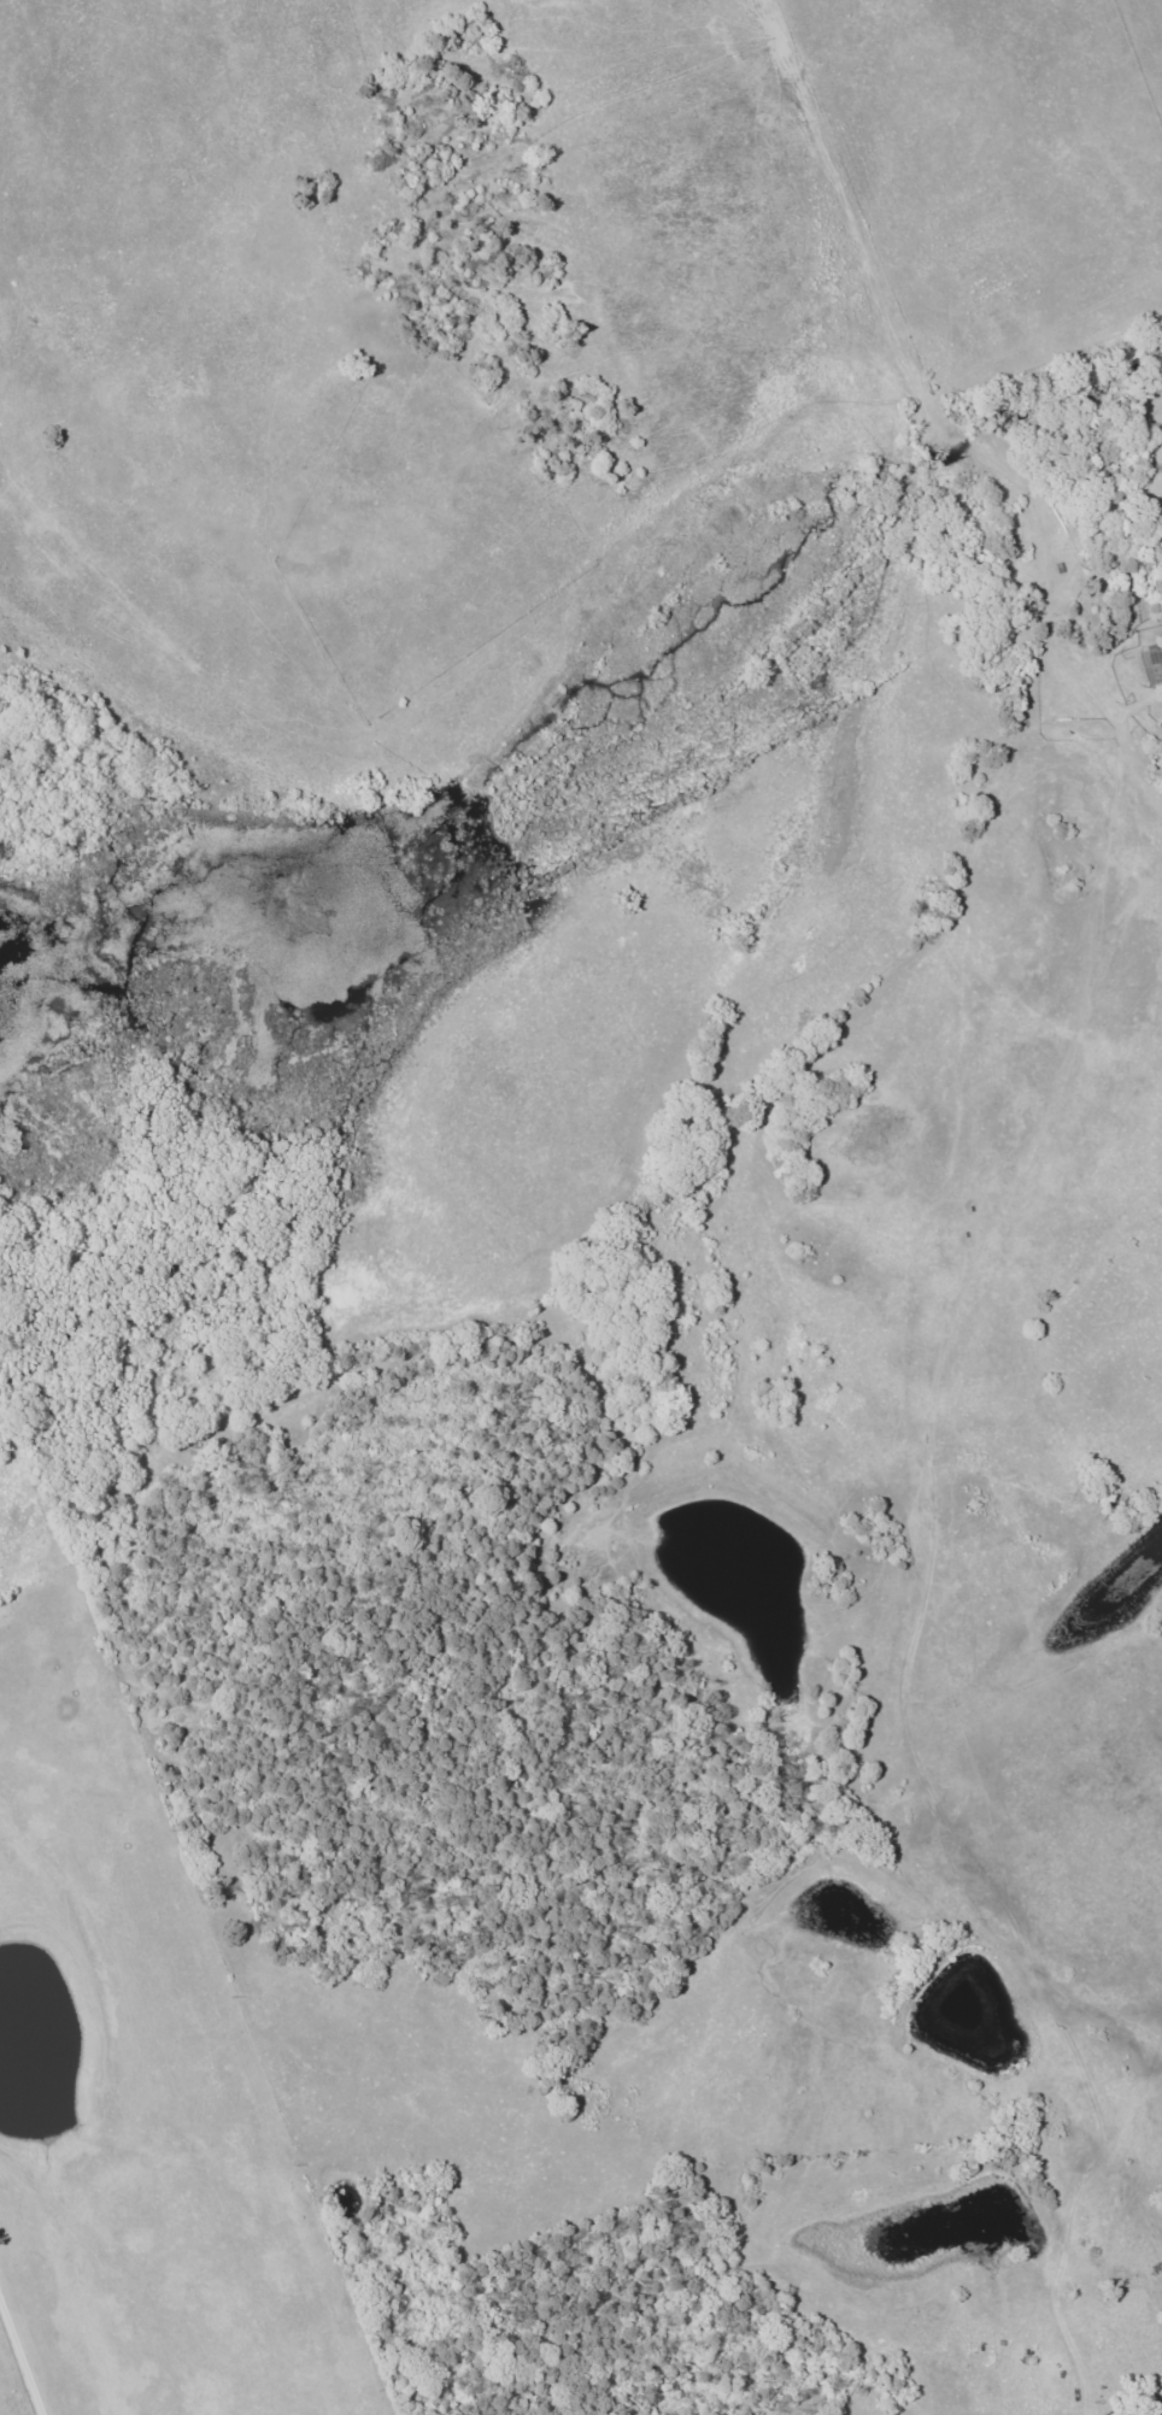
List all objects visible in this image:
road: (19, 2361)

